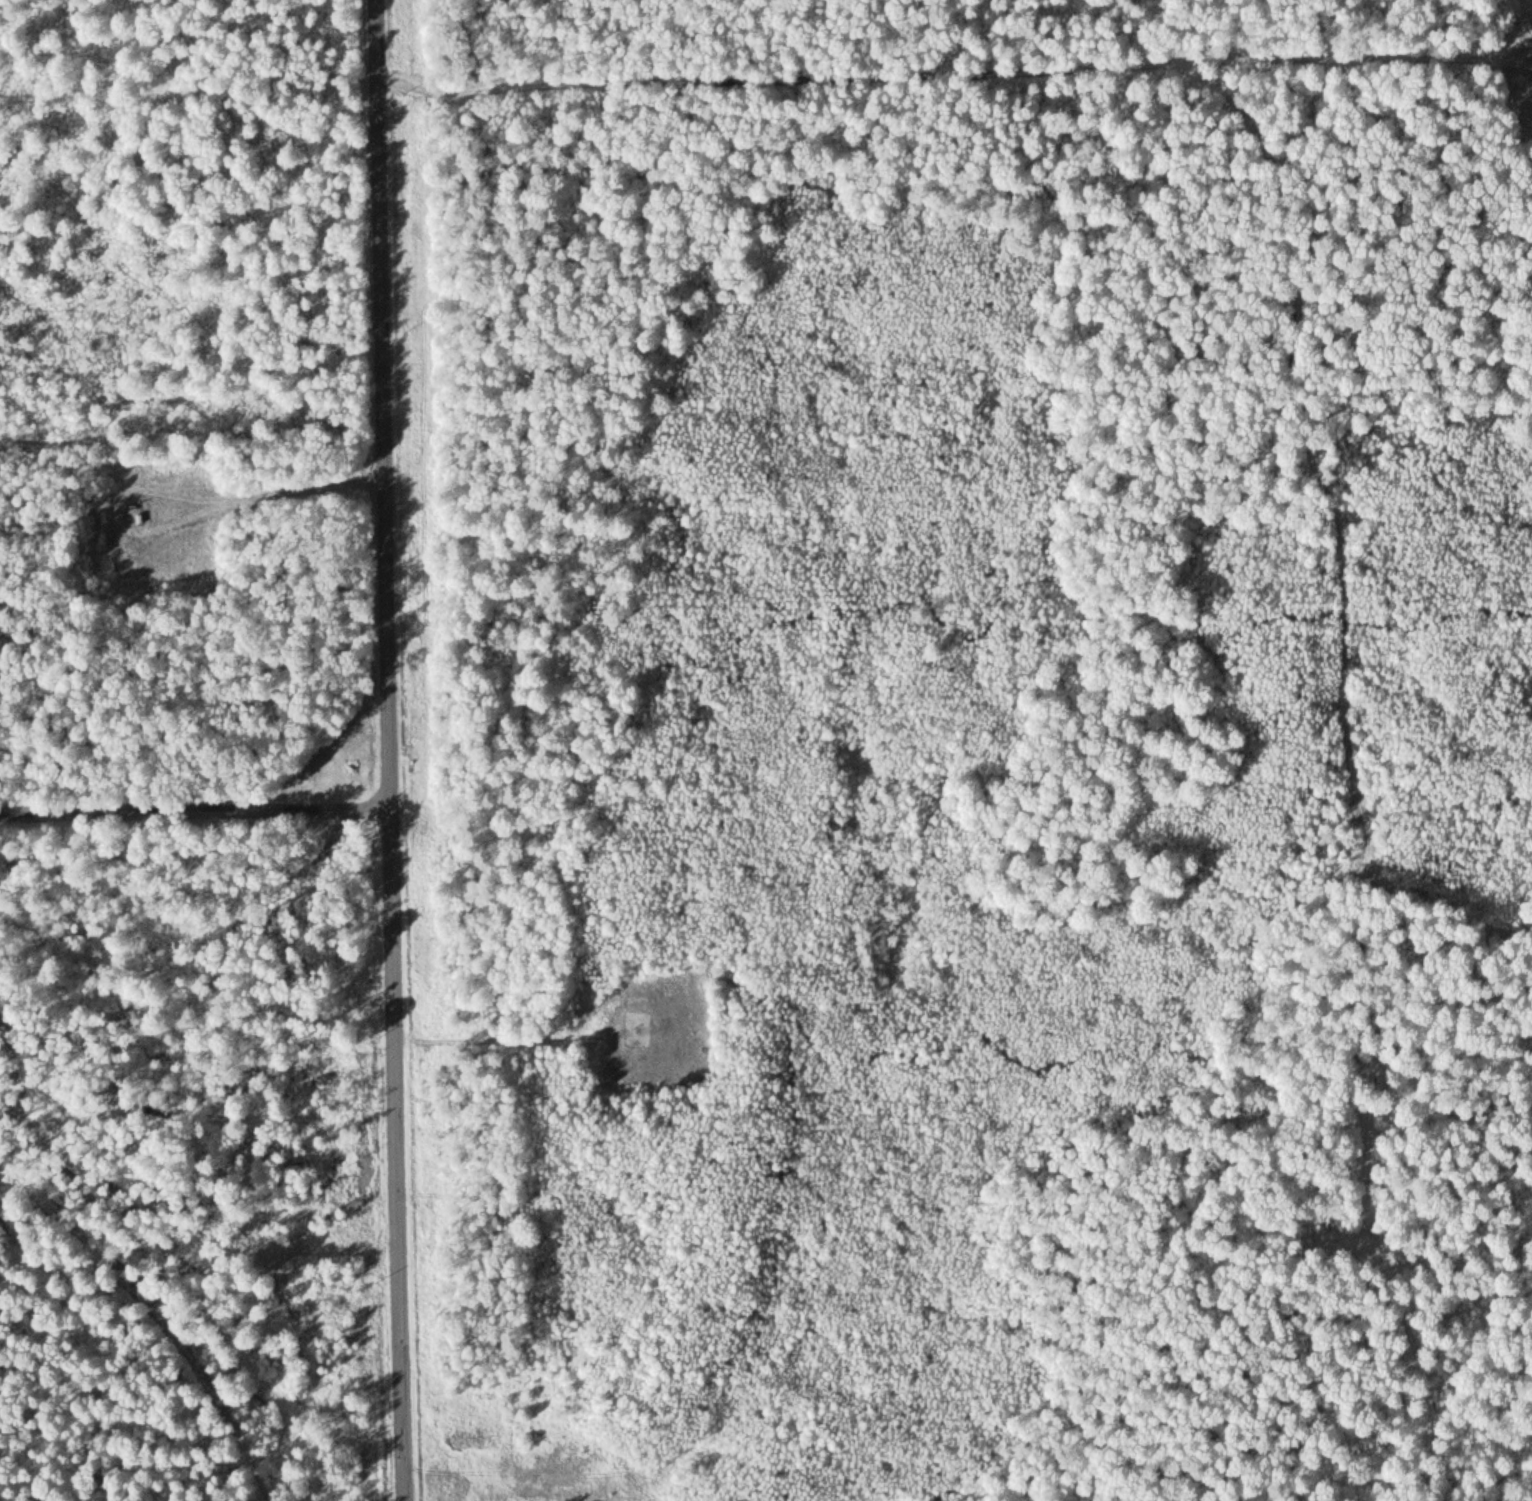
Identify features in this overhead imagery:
road: (953, 74)
petroleum well: (127, 495)
road: (392, 750)
road: (196, 813)
road: (135, 1332)

